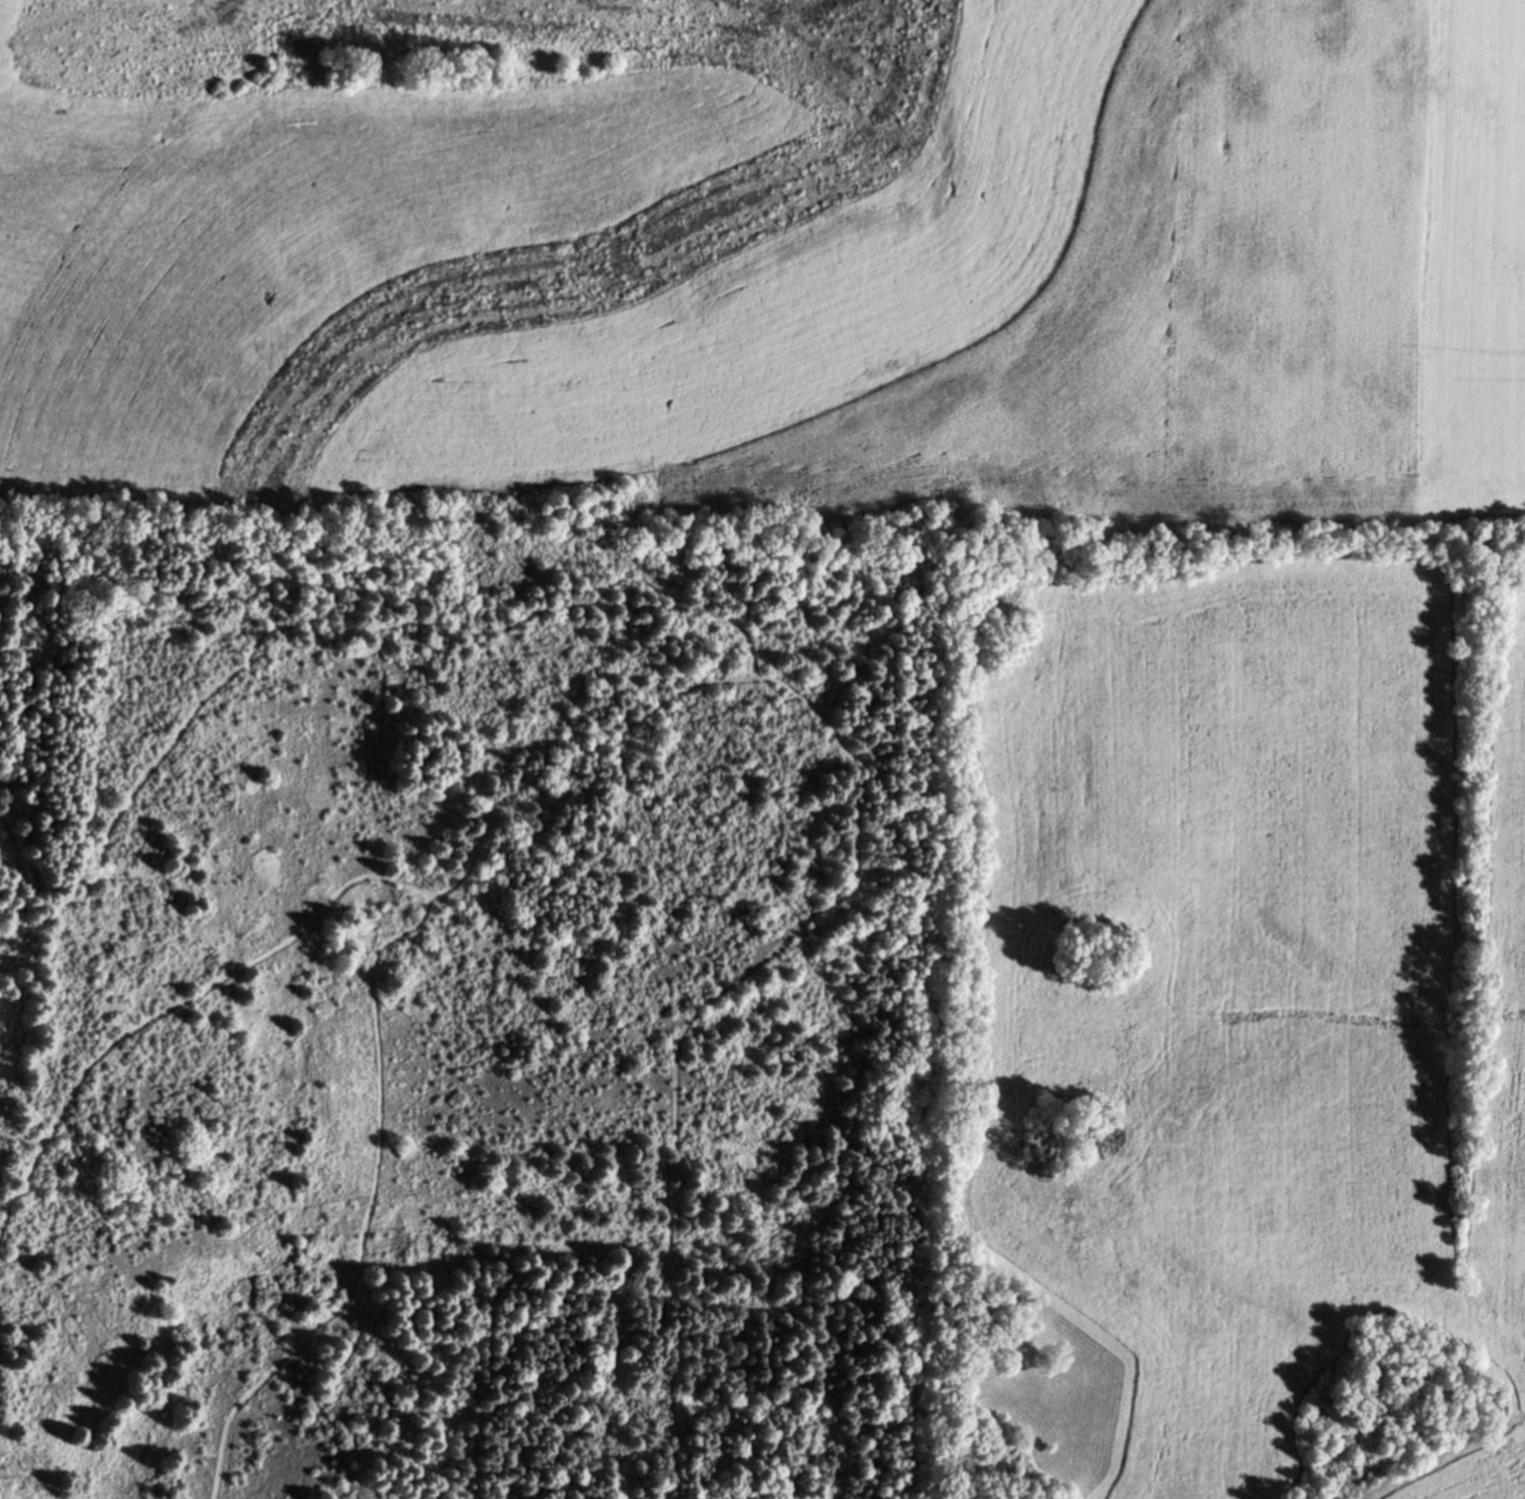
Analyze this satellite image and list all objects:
crop: (1255, 869)

